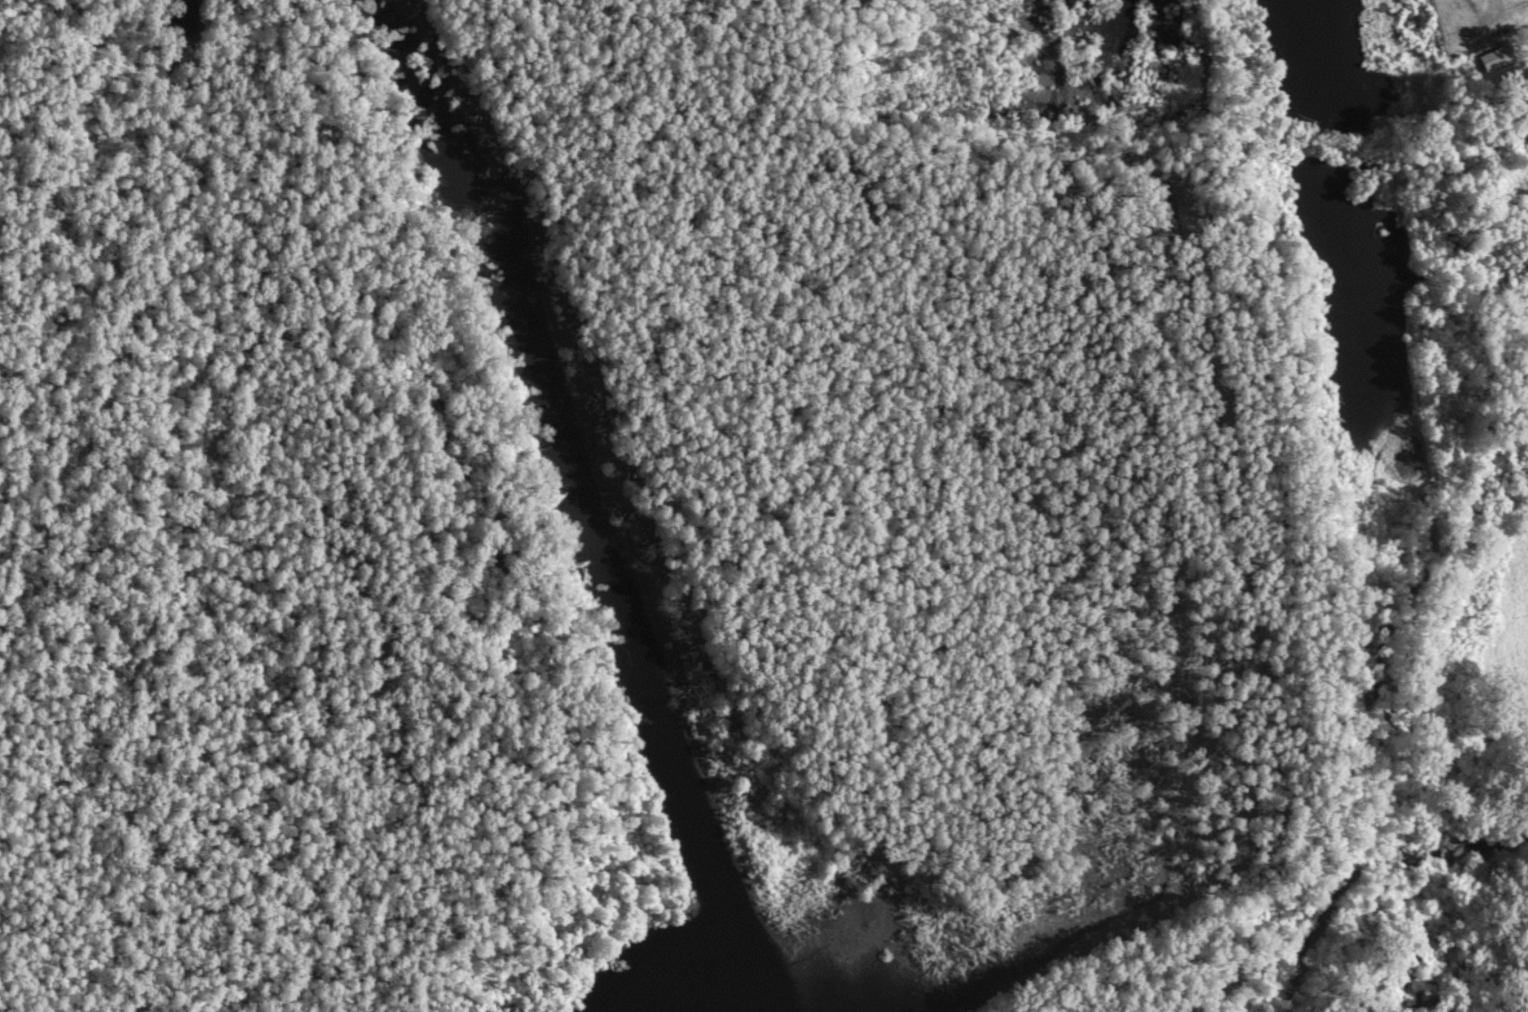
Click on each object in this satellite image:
building: (1464, 5)
road: (1499, 14)
building: (1499, 57)

